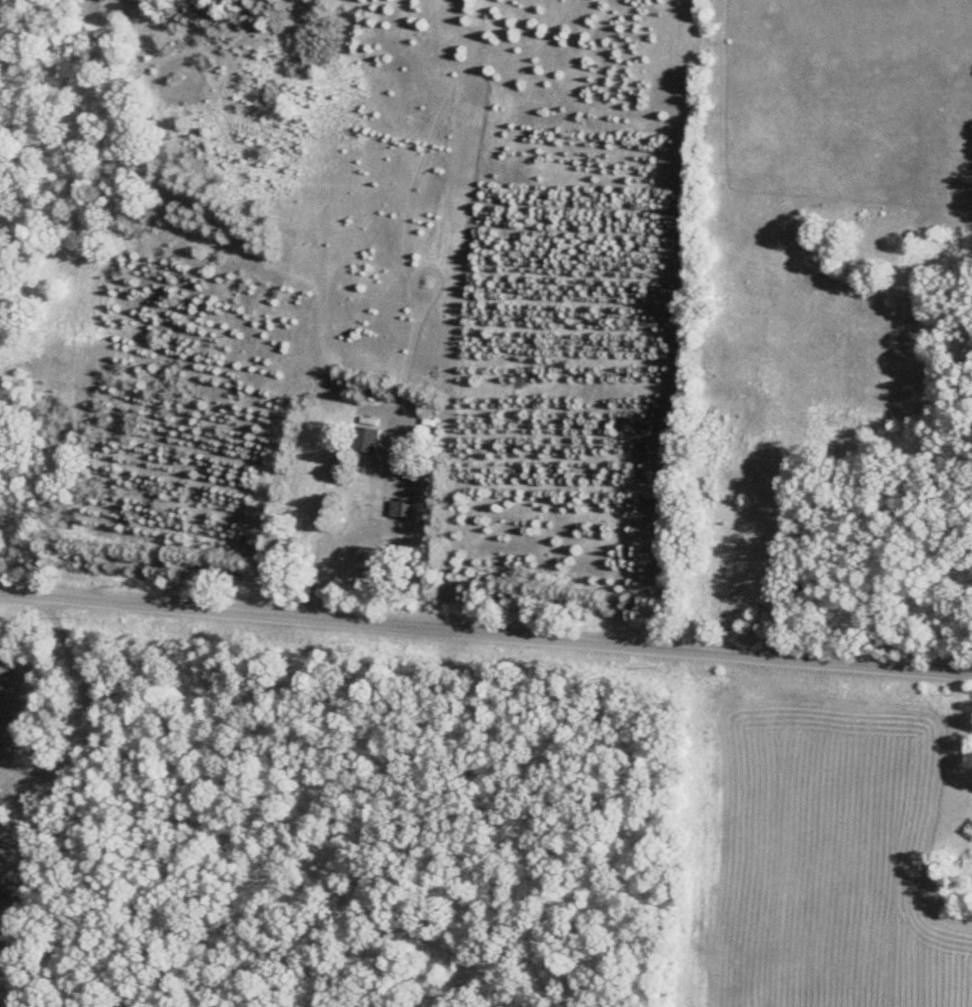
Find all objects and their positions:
building: (364, 438)
building: (399, 506)
road: (486, 631)

